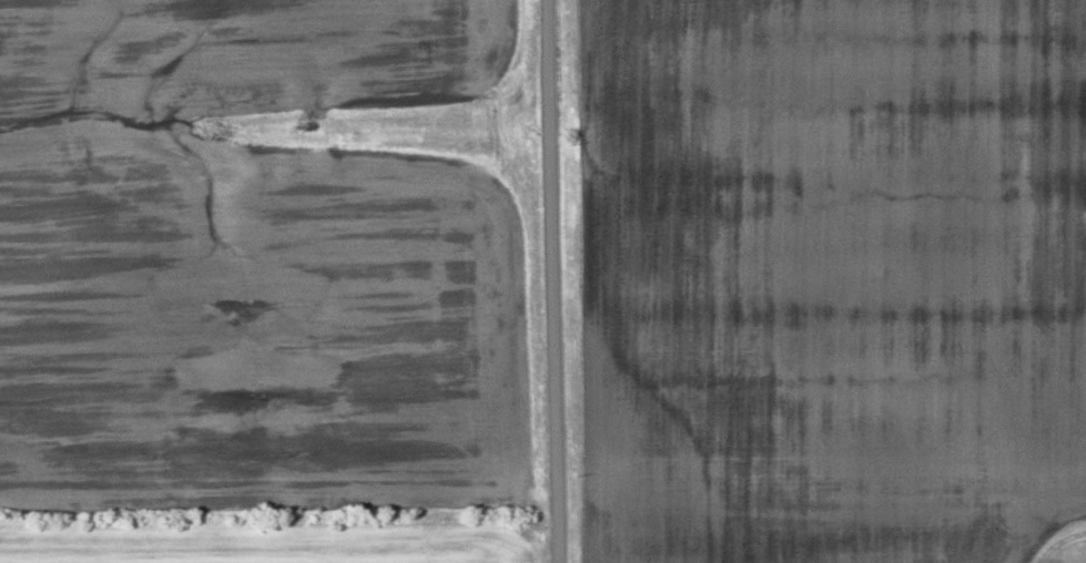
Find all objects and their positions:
road: (557, 280)

